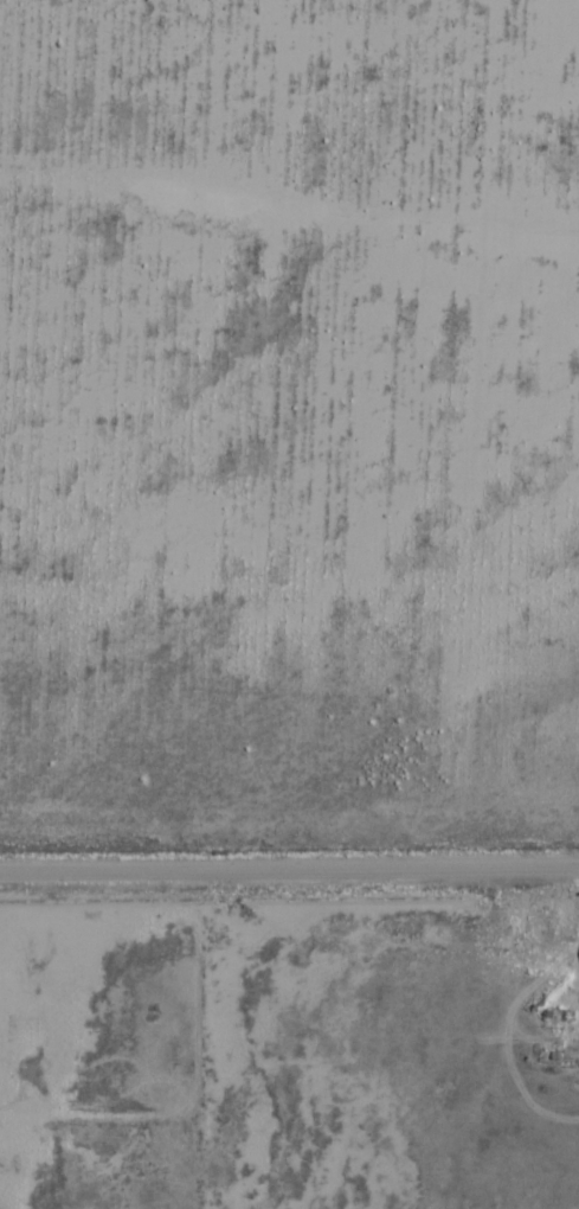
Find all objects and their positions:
road: (289, 861)

